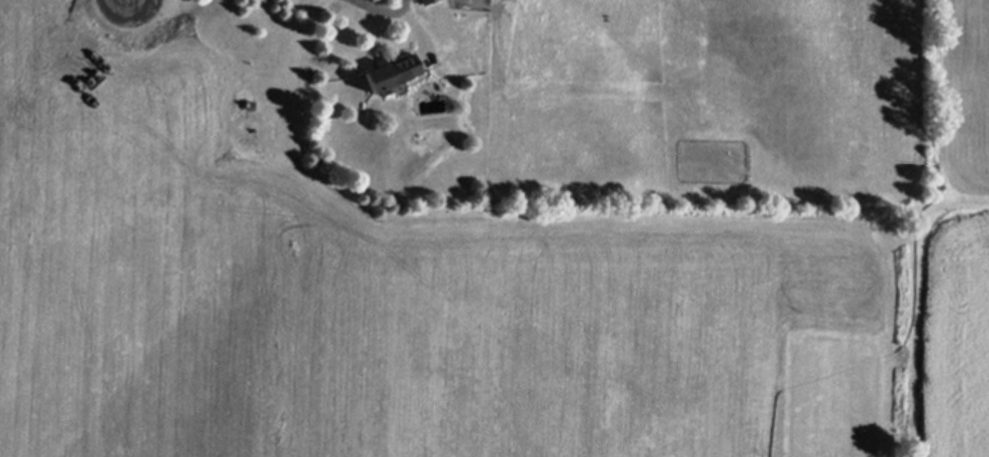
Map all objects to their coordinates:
building: (411, 0)
building: (427, 2)
road: (373, 8)
building: (389, 70)

